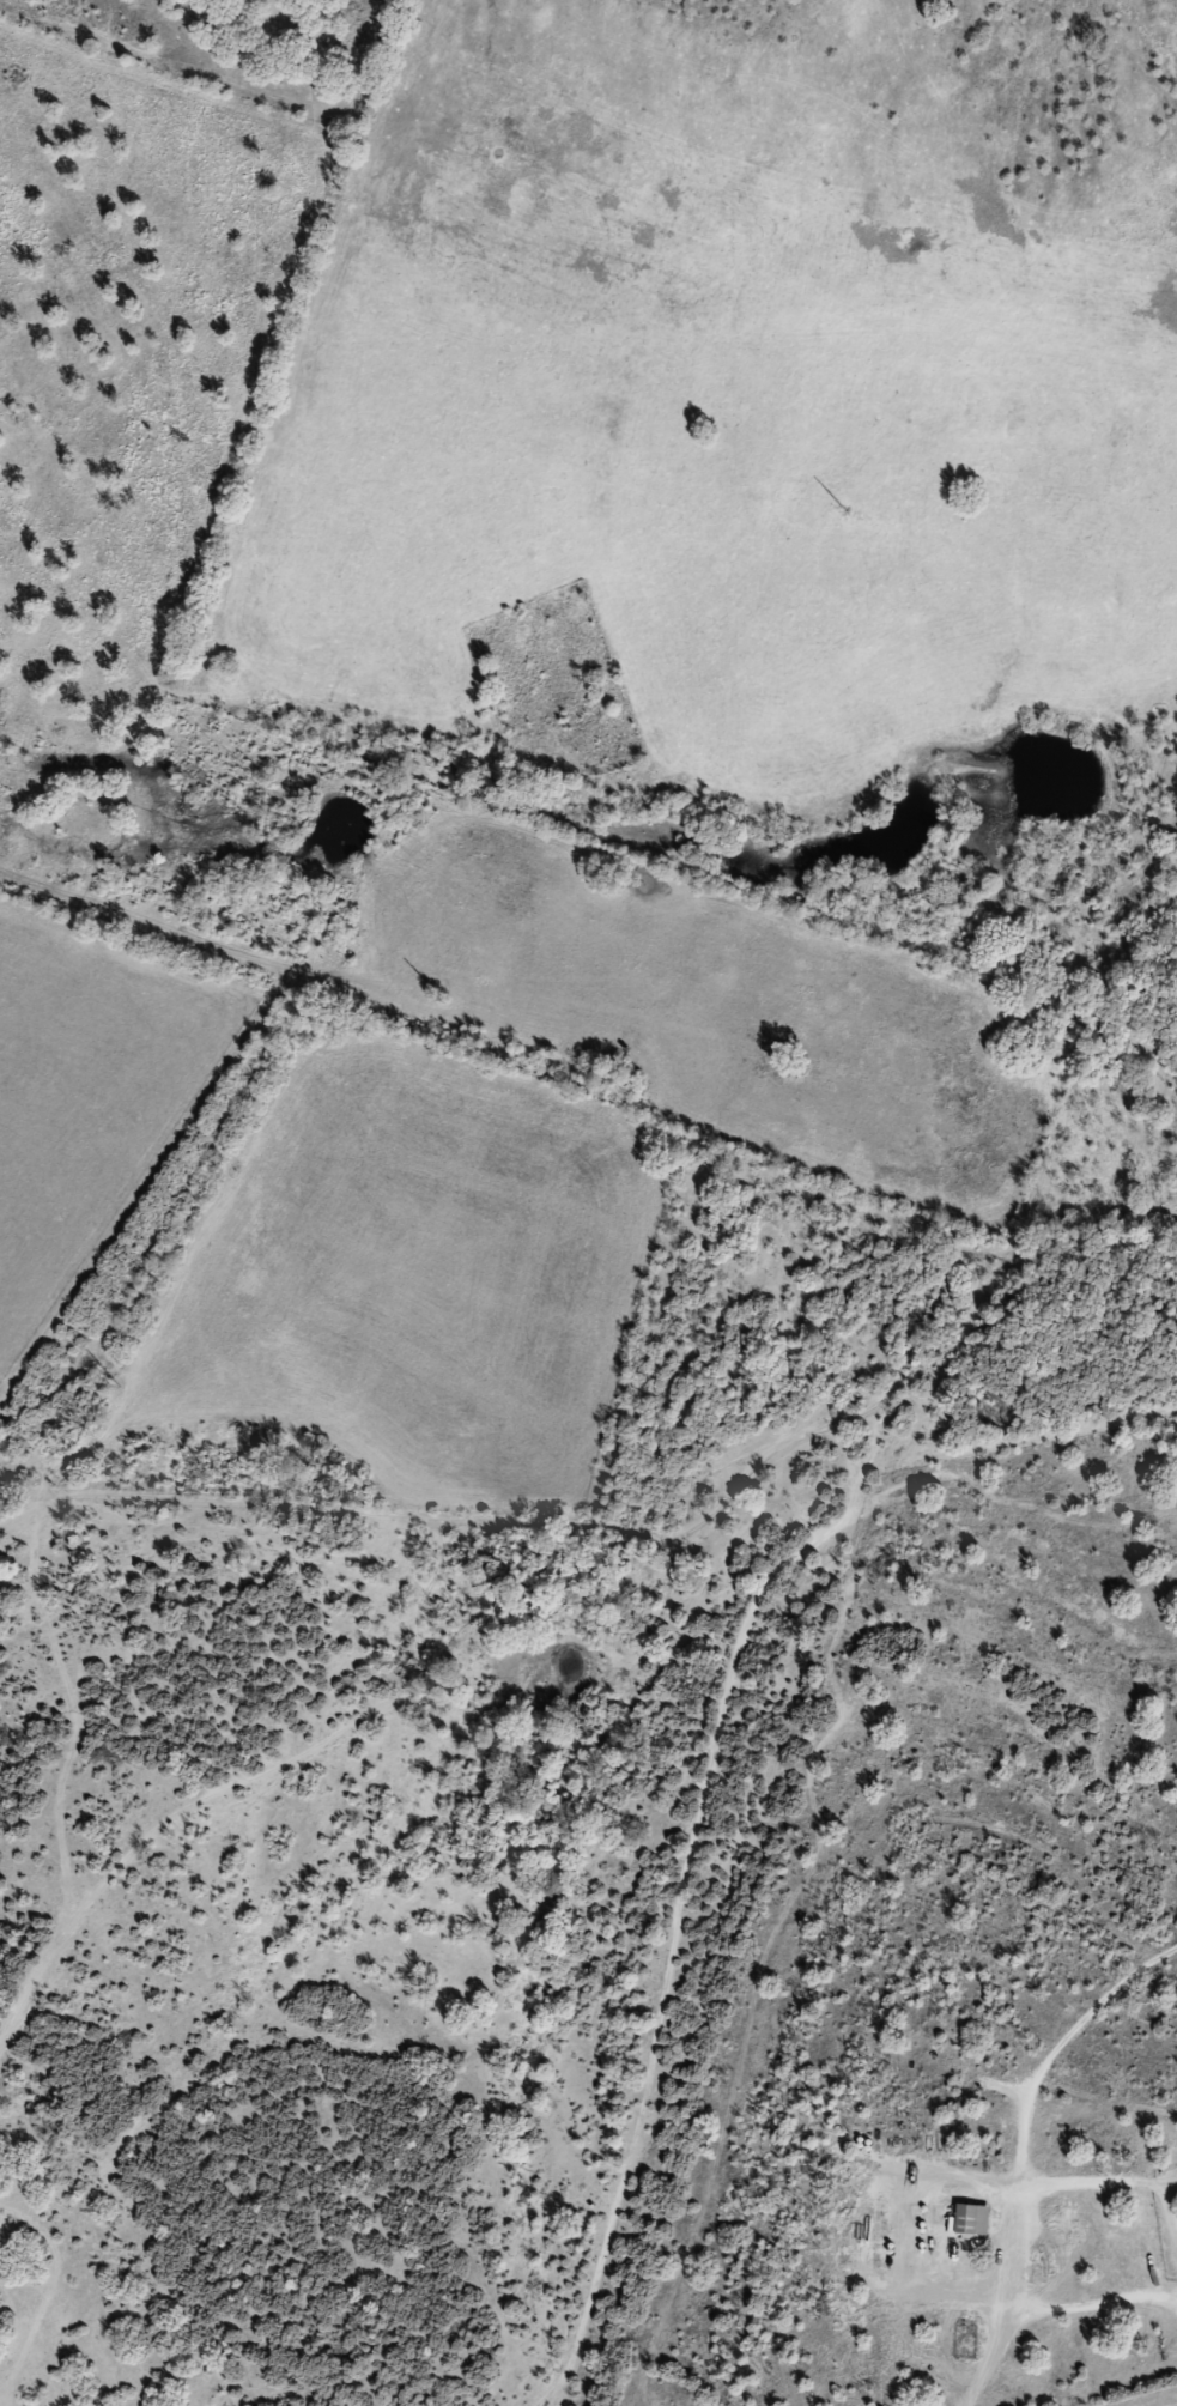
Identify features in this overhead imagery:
power tower: (845, 508)
park: (557, 691)
power tower: (438, 996)
power tower: (111, 1383)
road: (930, 1510)
building: (976, 2219)

